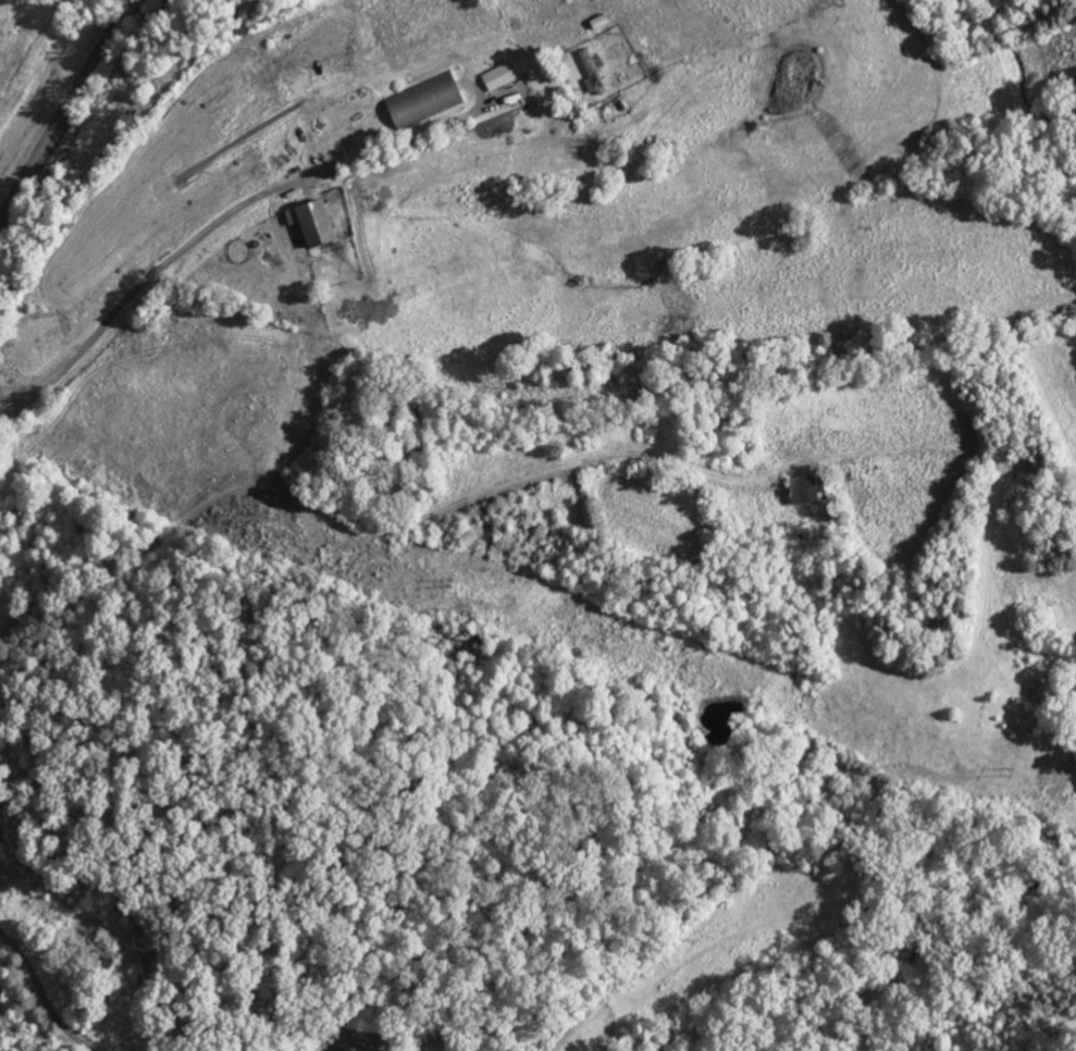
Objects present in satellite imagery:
building: (592, 74)
building: (502, 76)
building: (423, 102)
road: (66, 110)
road: (232, 211)
building: (311, 224)
road: (221, 487)
building: (805, 491)
power tower: (457, 582)
power tower: (1017, 770)
building: (99, 951)
road: (41, 999)
building: (350, 1050)

